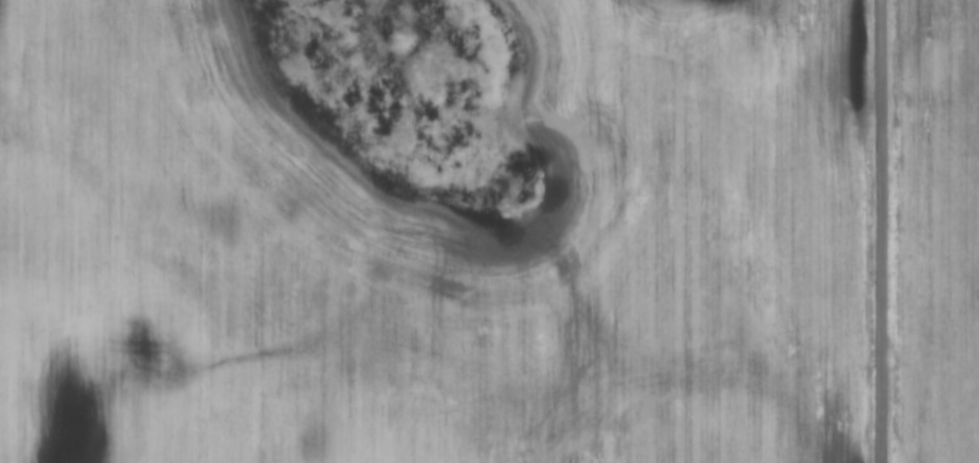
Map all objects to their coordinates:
road: (879, 231)

